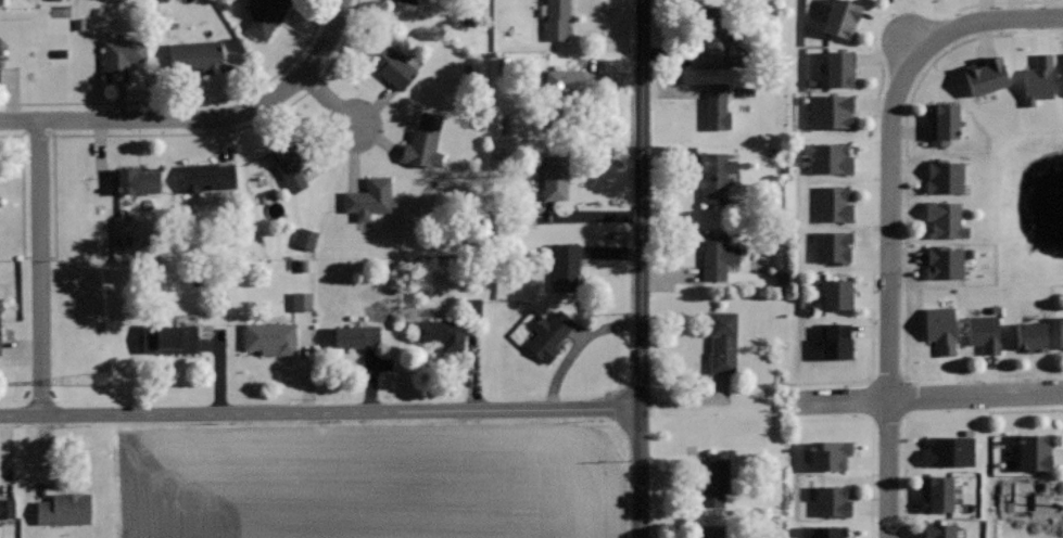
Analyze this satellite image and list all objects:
building: (407, 1)
building: (2, 2)
building: (266, 15)
building: (840, 17)
building: (557, 20)
road: (341, 40)
building: (712, 46)
building: (197, 56)
building: (123, 57)
building: (393, 65)
building: (839, 68)
building: (986, 75)
building: (1039, 79)
road: (312, 86)
building: (559, 91)
road: (329, 100)
road: (185, 102)
building: (717, 106)
building: (831, 111)
road: (200, 117)
building: (944, 123)
road: (122, 133)
road: (872, 140)
building: (423, 142)
building: (827, 157)
building: (291, 162)
building: (210, 176)
building: (716, 176)
building: (556, 177)
building: (945, 177)
building: (136, 180)
road: (21, 185)
building: (368, 197)
building: (0, 203)
building: (834, 204)
road: (889, 214)
building: (946, 220)
road: (903, 225)
building: (304, 239)
building: (834, 247)
building: (717, 256)
building: (945, 262)
building: (565, 266)
road: (40, 268)
road: (642, 269)
building: (837, 294)
building: (299, 302)
building: (470, 307)
building: (939, 329)
building: (1061, 330)
building: (441, 332)
building: (986, 332)
building: (549, 334)
building: (1032, 335)
building: (357, 336)
building: (168, 337)
building: (270, 337)
building: (835, 340)
building: (0, 341)
building: (723, 341)
road: (889, 374)
power tower: (99, 377)
road: (927, 397)
road: (906, 398)
road: (863, 400)
road: (320, 412)
road: (924, 414)
road: (885, 423)
road: (870, 443)
building: (947, 452)
building: (1035, 453)
building: (830, 456)
building: (714, 478)
building: (938, 494)
building: (1032, 499)
building: (834, 500)
building: (8, 508)
building: (64, 509)
building: (711, 530)
building: (939, 530)
building: (821, 533)
building: (1033, 536)

